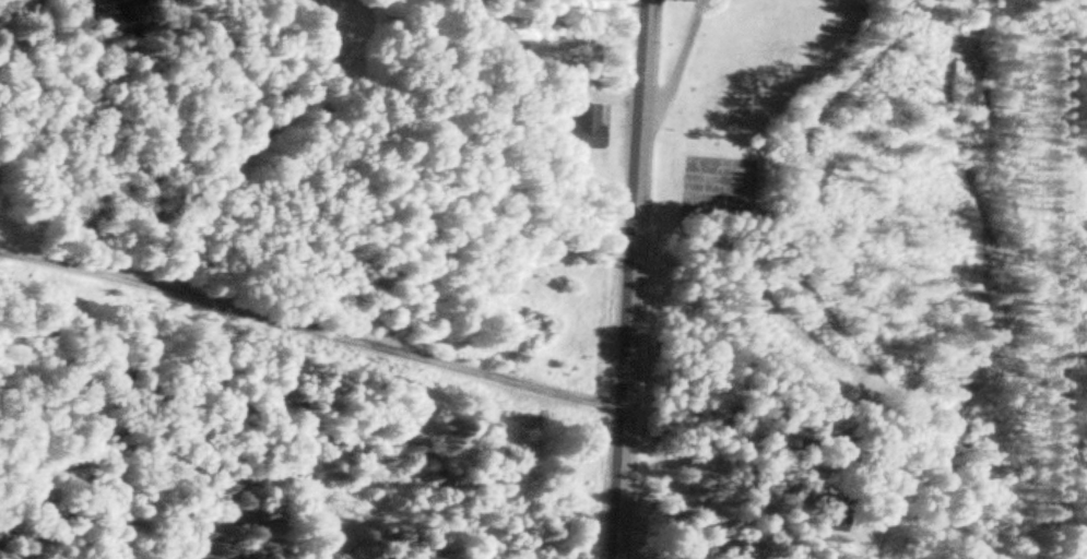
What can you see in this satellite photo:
park: (851, 115)
building: (584, 127)
road: (251, 148)
road: (628, 279)
road: (308, 333)
building: (828, 518)

